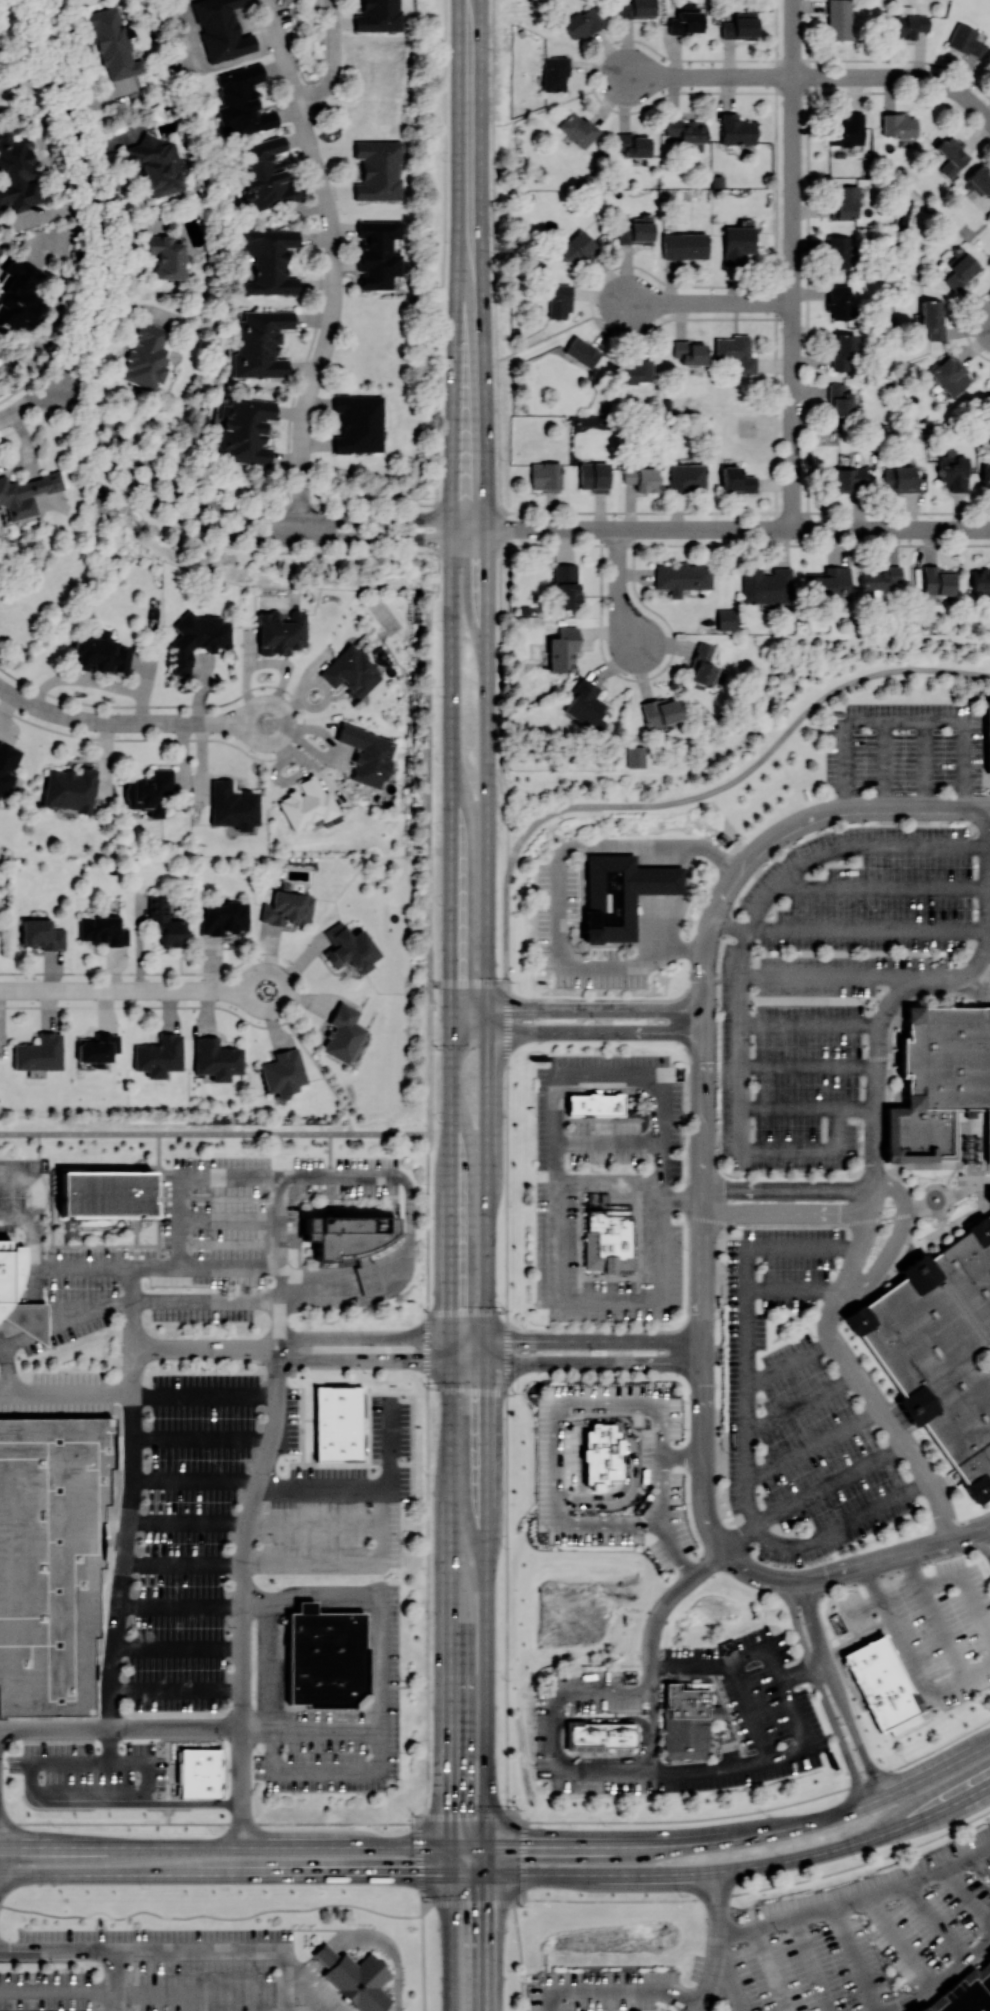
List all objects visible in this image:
building: (687, 5)
building: (636, 9)
building: (839, 19)
building: (685, 21)
building: (582, 22)
building: (736, 24)
building: (910, 24)
building: (966, 39)
building: (113, 44)
road: (335, 61)
building: (554, 72)
road: (709, 76)
road: (898, 76)
building: (242, 101)
road: (542, 108)
building: (898, 124)
building: (577, 128)
building: (736, 129)
building: (847, 129)
building: (686, 131)
building: (633, 144)
building: (952, 154)
building: (156, 163)
building: (378, 170)
building: (16, 172)
building: (265, 175)
road: (91, 199)
building: (847, 201)
building: (634, 229)
building: (737, 243)
building: (684, 245)
building: (576, 247)
building: (838, 251)
building: (378, 252)
building: (166, 256)
road: (469, 259)
building: (270, 260)
road: (794, 264)
road: (334, 267)
building: (959, 271)
building: (17, 294)
building: (559, 300)
building: (839, 301)
road: (709, 302)
building: (932, 318)
road: (545, 337)
building: (260, 342)
building: (582, 351)
building: (690, 351)
building: (736, 351)
building: (844, 351)
building: (146, 357)
building: (635, 370)
building: (950, 374)
building: (989, 398)
building: (839, 399)
road: (23, 407)
building: (359, 423)
building: (246, 429)
road: (498, 439)
building: (953, 469)
building: (545, 475)
building: (986, 475)
building: (593, 476)
building: (687, 477)
building: (848, 477)
building: (641, 478)
building: (902, 478)
building: (736, 479)
road: (436, 491)
building: (26, 493)
road: (239, 512)
road: (732, 529)
road: (984, 529)
road: (241, 534)
road: (487, 570)
building: (682, 577)
building: (880, 577)
building: (980, 578)
building: (937, 580)
building: (829, 581)
building: (566, 585)
building: (766, 585)
road: (619, 591)
building: (725, 618)
building: (281, 631)
building: (198, 637)
building: (562, 650)
building: (99, 655)
building: (701, 666)
building: (351, 671)
building: (585, 705)
building: (660, 710)
road: (906, 721)
road: (130, 722)
building: (989, 740)
building: (367, 754)
building: (635, 756)
road: (451, 759)
road: (886, 764)
road: (926, 764)
building: (8, 765)
building: (70, 788)
building: (149, 791)
road: (696, 795)
building: (306, 803)
building: (233, 805)
road: (854, 808)
road: (882, 887)
road: (561, 890)
parking lot: (866, 890)
building: (624, 894)
road: (662, 900)
building: (288, 908)
building: (224, 917)
building: (165, 922)
road: (732, 925)
building: (103, 930)
road: (869, 931)
building: (42, 934)
building: (350, 948)
road: (706, 948)
road: (742, 969)
road: (986, 975)
road: (853, 978)
road: (468, 981)
road: (134, 990)
road: (828, 1001)
traffic signals: (450, 1008)
traffic signals: (486, 1008)
road: (577, 1008)
road: (812, 1025)
traffic signals: (450, 1031)
traffic signals: (486, 1031)
road: (577, 1031)
building: (342, 1033)
building: (97, 1047)
building: (39, 1052)
building: (159, 1055)
parking lot: (797, 1055)
road: (430, 1057)
building: (216, 1058)
road: (811, 1067)
building: (283, 1072)
building: (939, 1080)
road: (627, 1088)
building: (594, 1103)
road: (810, 1111)
road: (215, 1133)
road: (611, 1140)
road: (557, 1181)
parking lot: (608, 1183)
road: (609, 1183)
road: (450, 1184)
road: (789, 1189)
road: (945, 1192)
building: (989, 1195)
building: (108, 1196)
road: (683, 1201)
road: (406, 1204)
road: (786, 1212)
road: (228, 1220)
road: (798, 1223)
road: (863, 1228)
building: (608, 1233)
road: (895, 1237)
building: (353, 1245)
road: (487, 1253)
road: (154, 1265)
road: (30, 1274)
building: (10, 1277)
road: (793, 1288)
road: (466, 1311)
road: (65, 1323)
road: (704, 1327)
road: (364, 1338)
traffic signals: (451, 1339)
traffic signals: (487, 1339)
road: (577, 1339)
road: (207, 1346)
building: (939, 1348)
road: (363, 1361)
traffic signals: (451, 1362)
traffic signals: (487, 1362)
road: (788, 1362)
road: (577, 1363)
road: (467, 1387)
road: (140, 1395)
road: (506, 1399)
road: (800, 1404)
road: (586, 1408)
parking lot: (796, 1410)
road: (745, 1426)
building: (343, 1427)
road: (203, 1436)
road: (393, 1445)
road: (811, 1445)
building: (602, 1453)
road: (684, 1456)
road: (630, 1459)
road: (427, 1478)
road: (264, 1486)
road: (665, 1489)
road: (250, 1510)
road: (131, 1514)
road: (599, 1524)
road: (986, 1537)
road: (681, 1550)
road: (897, 1554)
building: (51, 1559)
road: (184, 1565)
road: (707, 1565)
road: (794, 1579)
road: (965, 1590)
road: (325, 1602)
road: (451, 1603)
road: (282, 1604)
road: (306, 1607)
road: (179, 1649)
building: (327, 1657)
road: (731, 1666)
road: (805, 1672)
road: (978, 1672)
building: (885, 1685)
road: (947, 1688)
road: (838, 1689)
road: (177, 1690)
road: (821, 1693)
road: (593, 1696)
road: (753, 1714)
building: (688, 1717)
road: (380, 1721)
road: (557, 1734)
building: (602, 1734)
road: (644, 1739)
road: (272, 1756)
road: (710, 1772)
building: (203, 1774)
road: (930, 1774)
road: (74, 1801)
road: (197, 1803)
road: (765, 1808)
road: (508, 1817)
road: (208, 1823)
road: (662, 1844)
traffic signals: (451, 1845)
traffic signals: (488, 1845)
road: (225, 1846)
road: (451, 1858)
road: (419, 1862)
road: (727, 1868)
traffic signals: (451, 1872)
traffic signals: (488, 1872)
road: (225, 1873)
road: (966, 1898)
road: (858, 1899)
road: (492, 1902)
road: (943, 1921)
road: (369, 1935)
road: (451, 1941)
road: (487, 1941)
road: (899, 1942)
road: (719, 1943)
road: (172, 1951)
building: (326, 1954)
road: (519, 1956)
road: (855, 1958)
road: (422, 1962)
road: (811, 1963)
road: (770, 1969)
road: (731, 1974)
road: (943, 1979)
road: (114, 1981)
building: (360, 1981)
road: (292, 1988)
road: (617, 1991)
building: (965, 1991)
road: (142, 1993)
road: (311, 1996)

